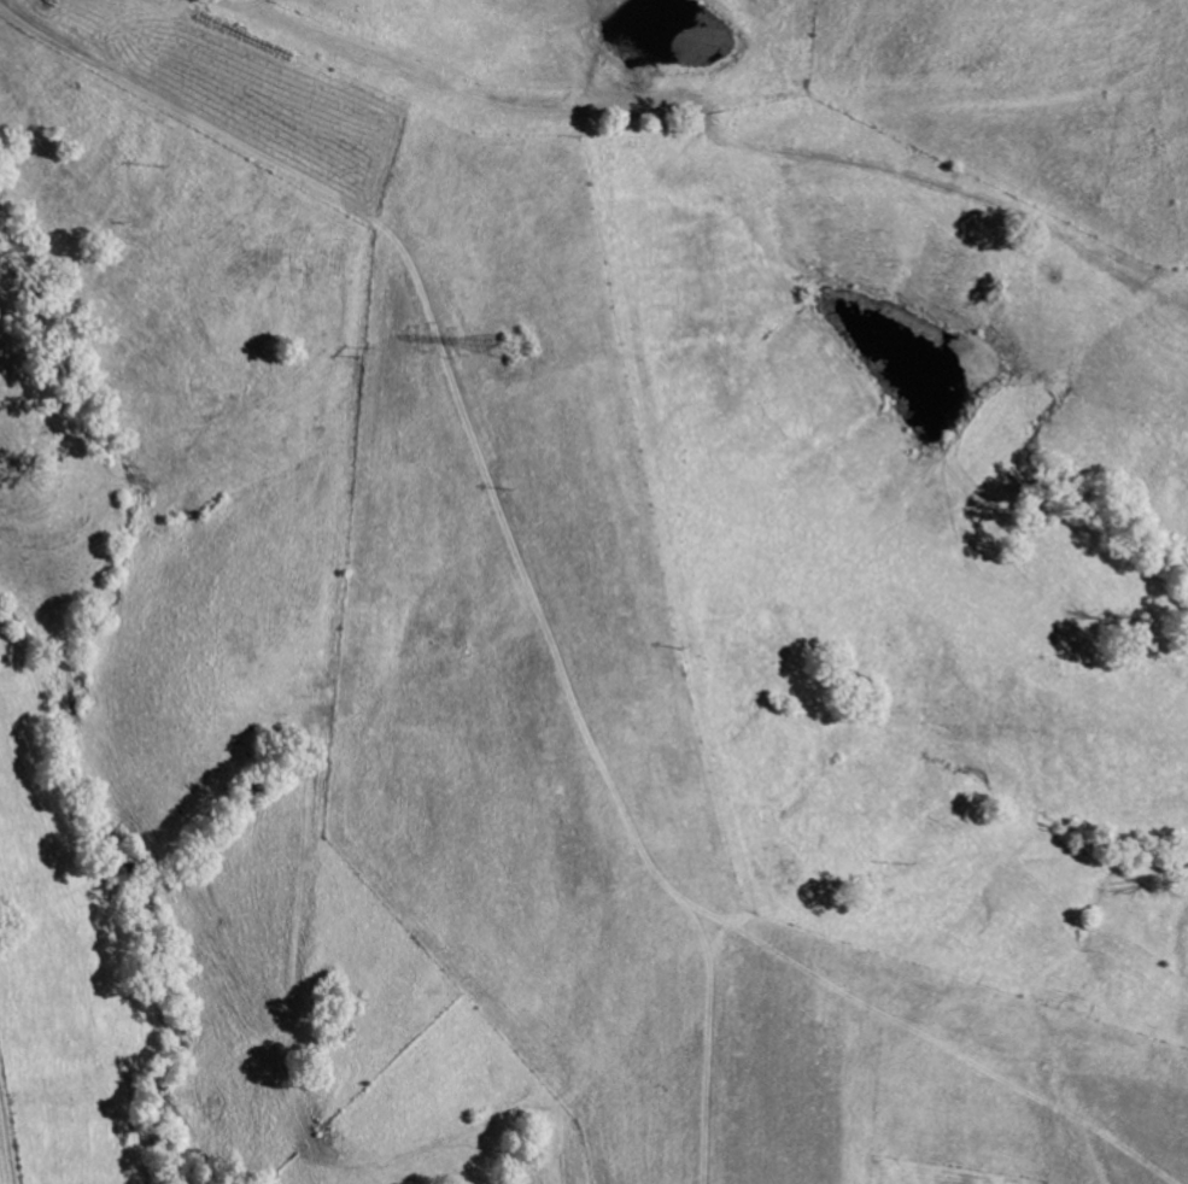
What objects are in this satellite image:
power tower: (510, 342)

